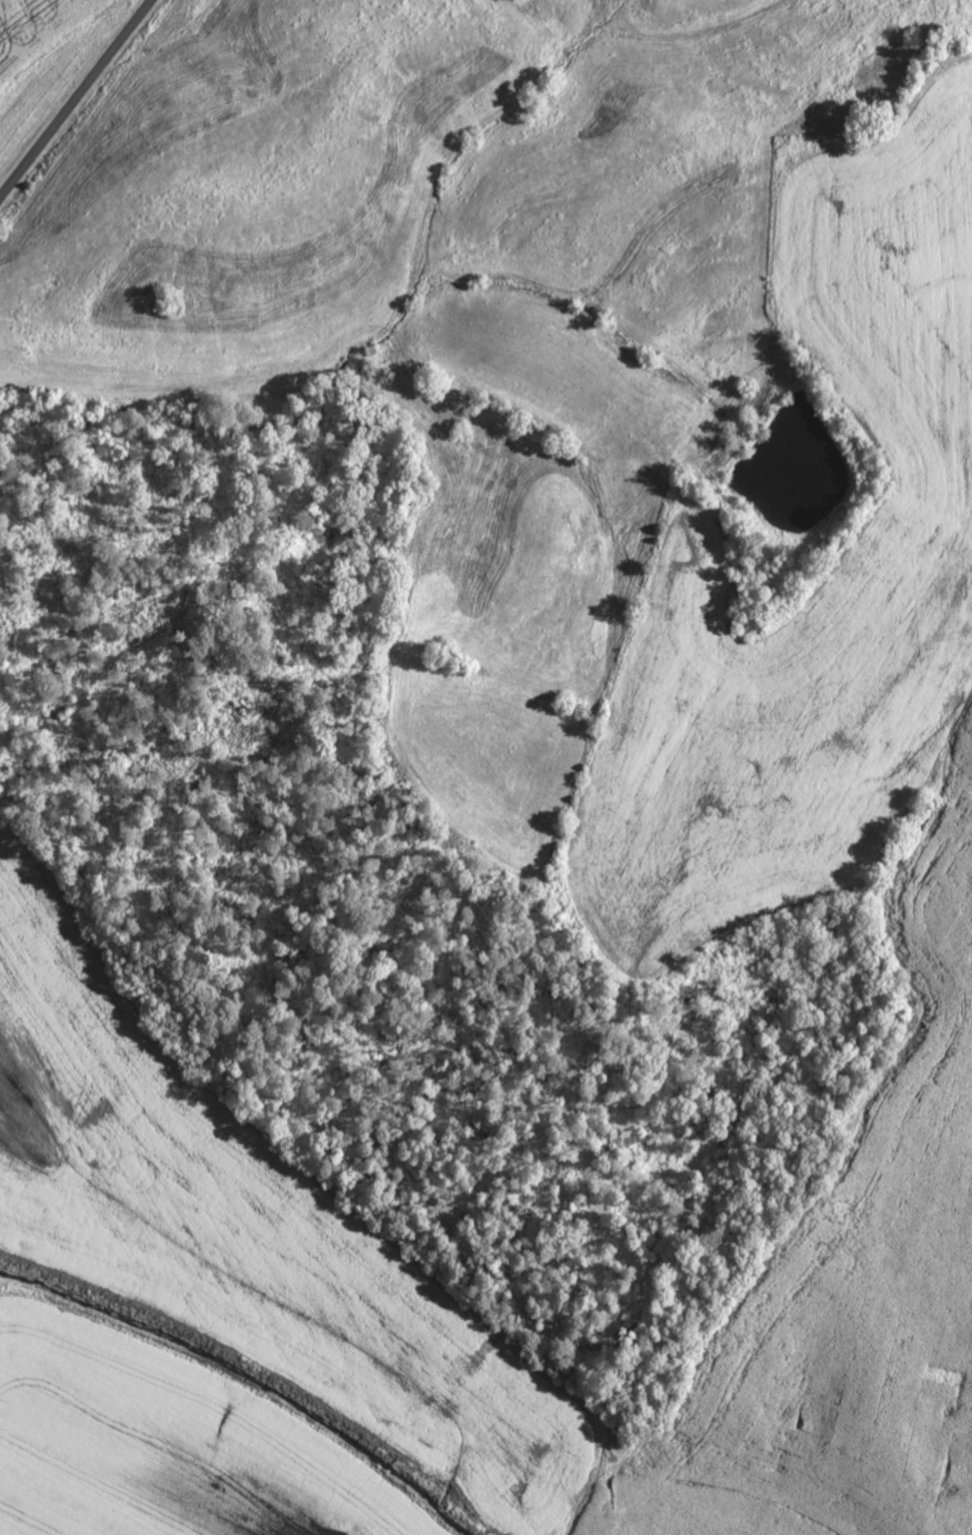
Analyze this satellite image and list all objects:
road: (75, 98)

